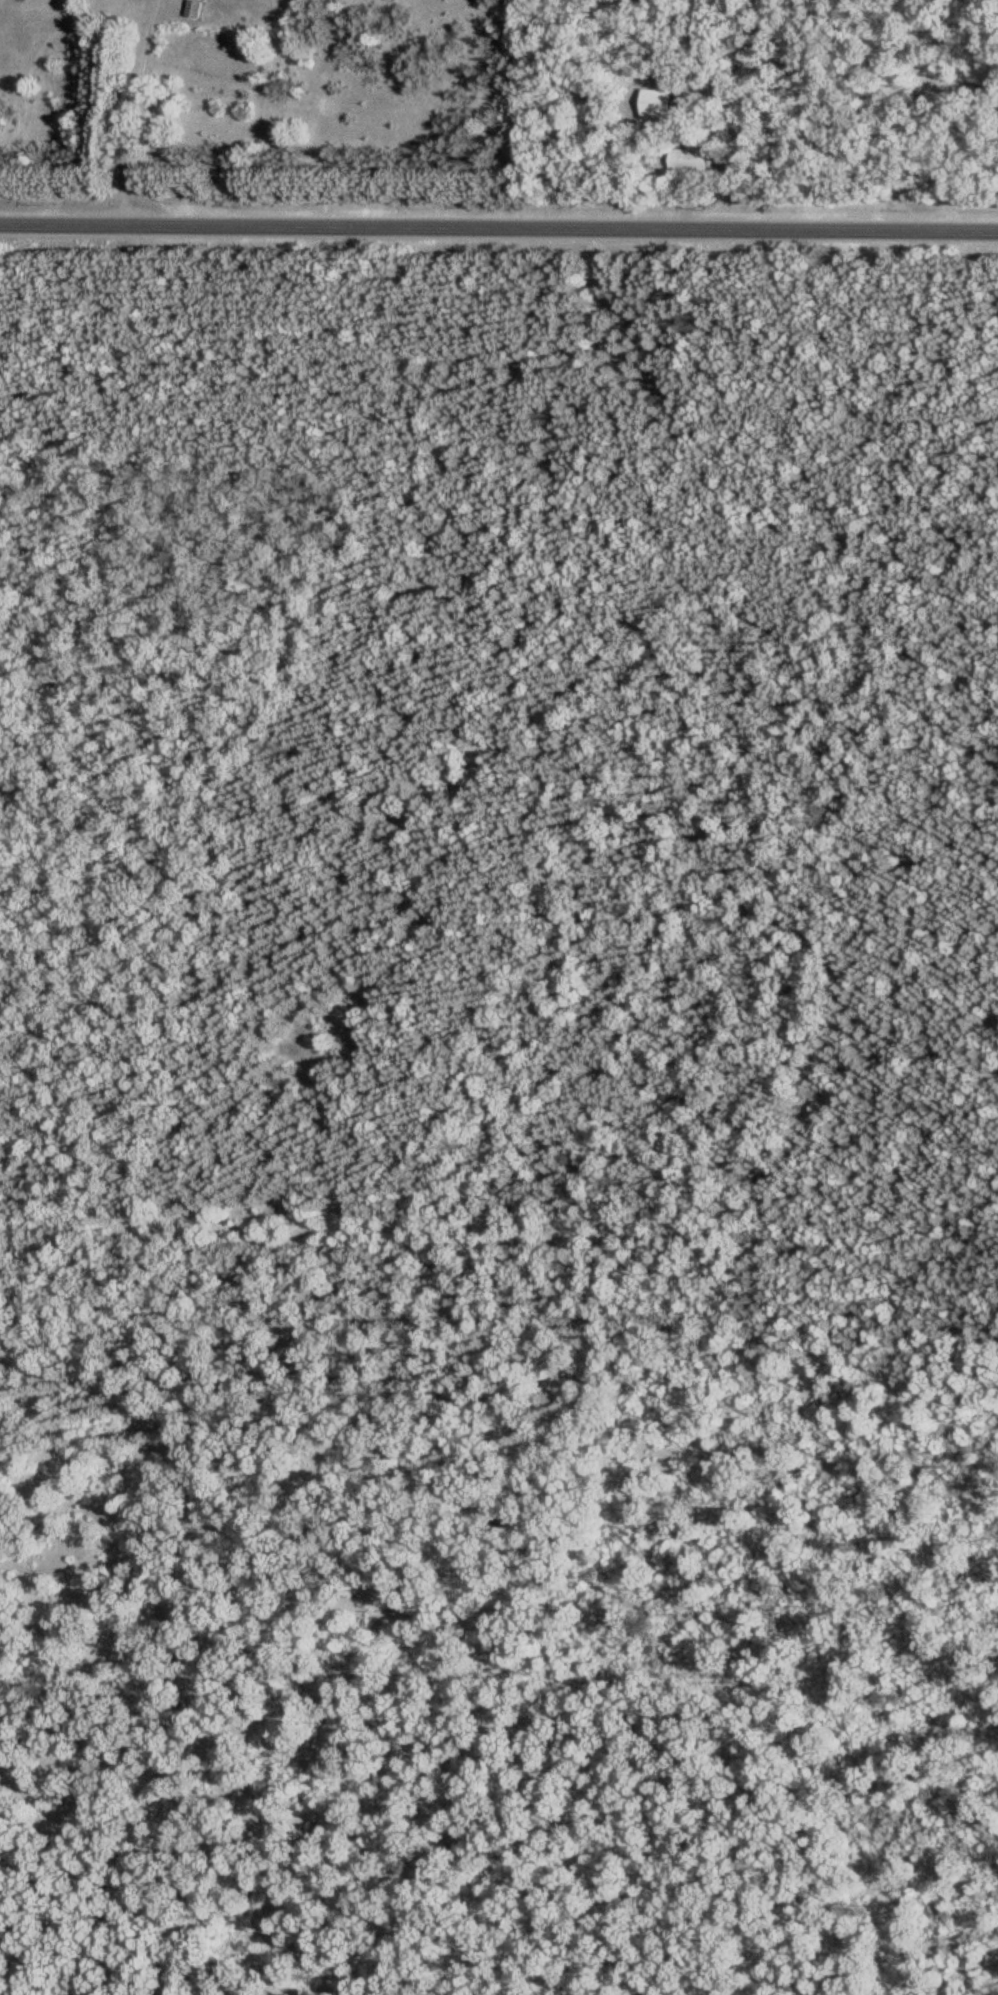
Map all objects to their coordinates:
building: (198, 8)
building: (664, 100)
building: (695, 157)
road: (499, 222)

